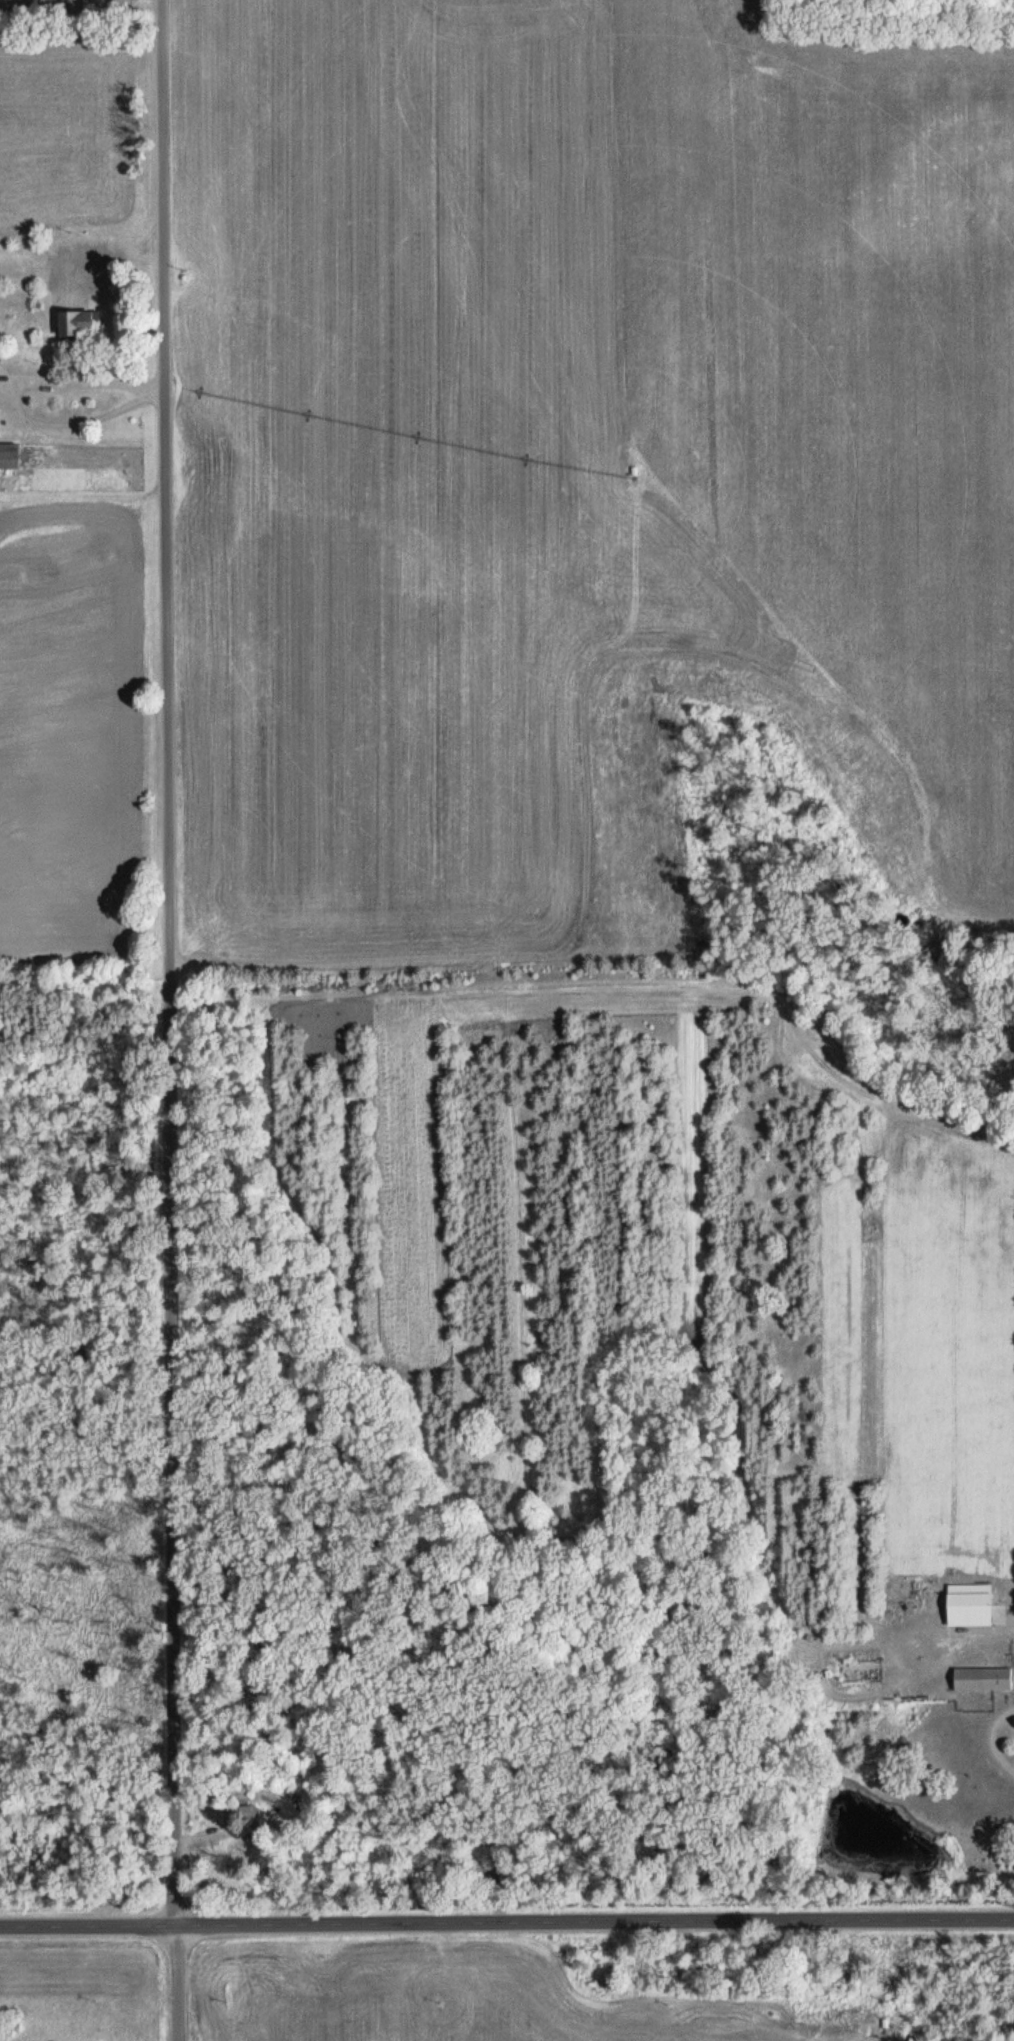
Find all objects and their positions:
building: (74, 323)
road: (15, 394)
building: (8, 455)
road: (170, 962)
building: (981, 1678)
road: (993, 1736)
road: (594, 1921)
road: (87, 1925)
road: (174, 1983)

